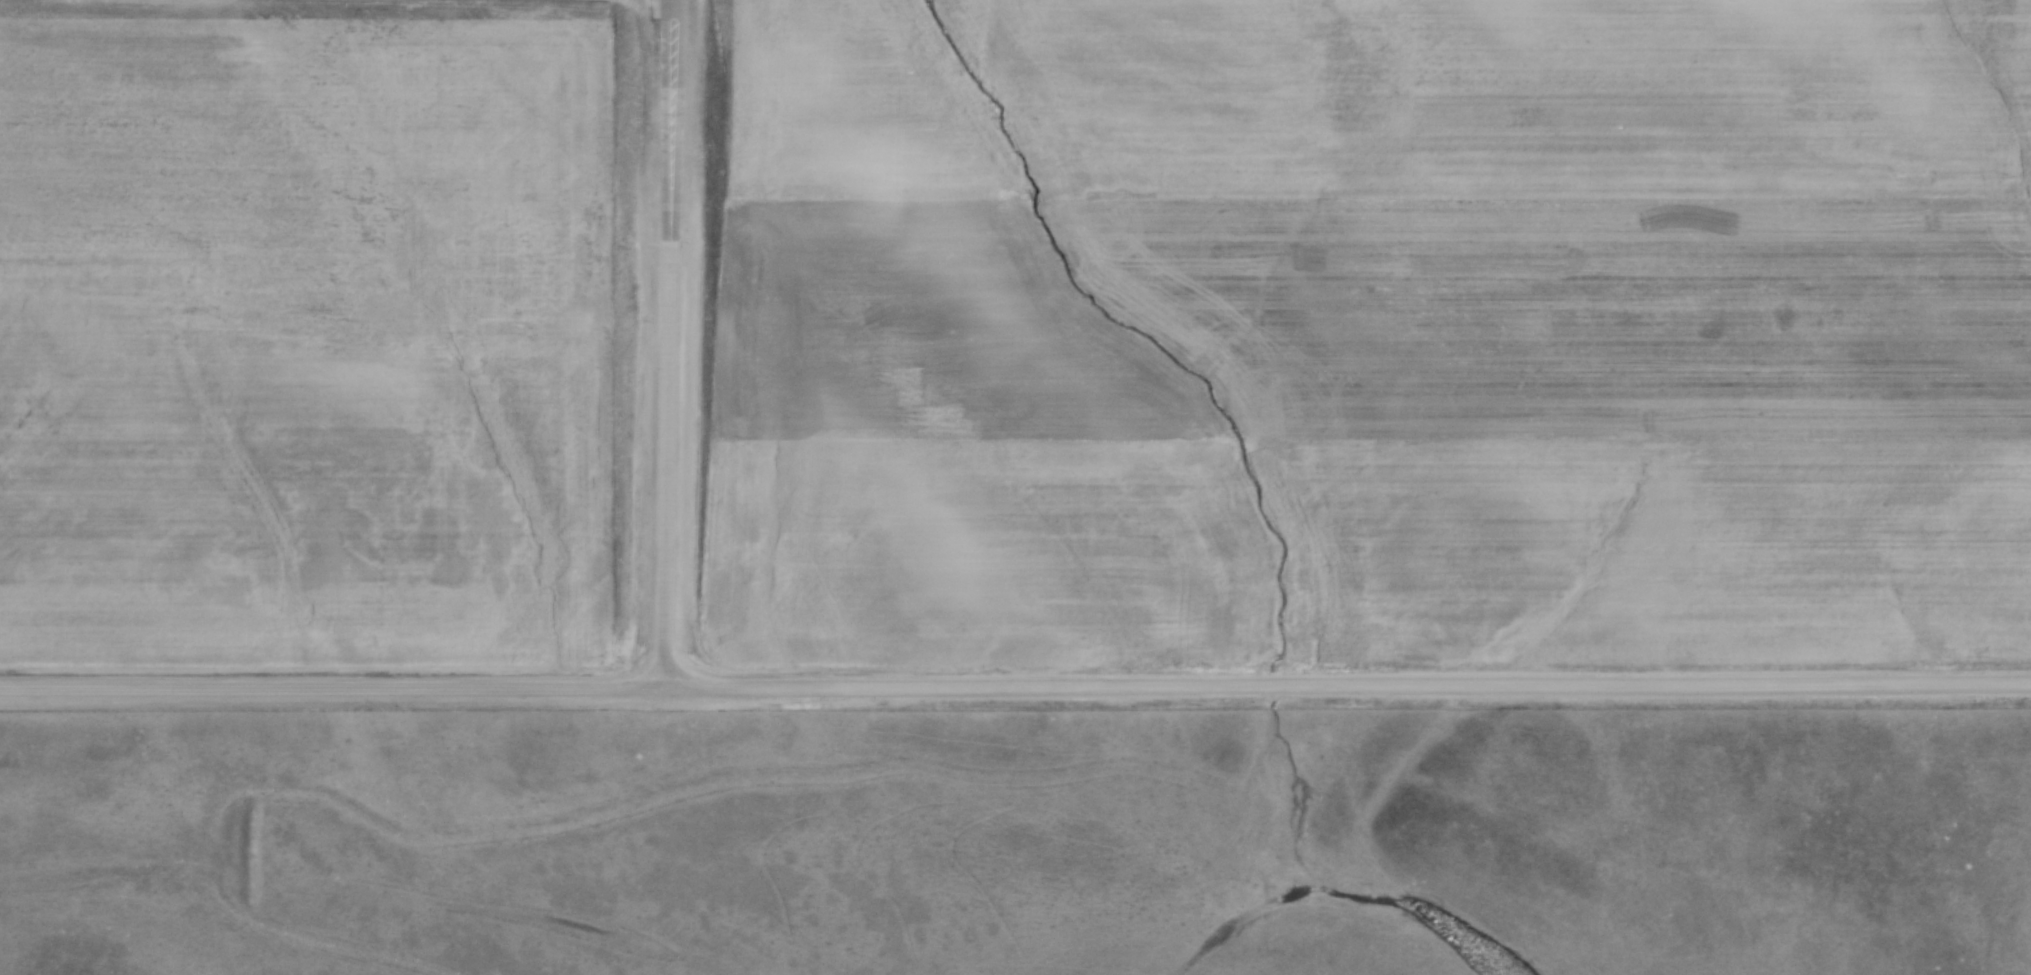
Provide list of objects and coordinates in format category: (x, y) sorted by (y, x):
road: (662, 125)
crop: (1370, 334)
crop: (308, 335)
road: (656, 472)
road: (1015, 691)

